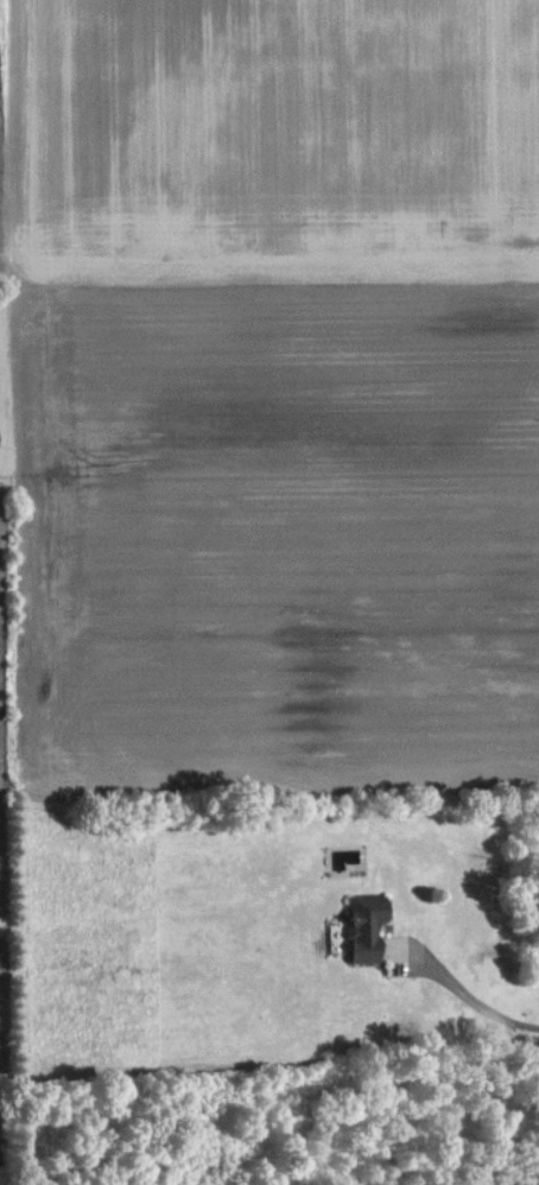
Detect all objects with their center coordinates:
road: (462, 1000)

